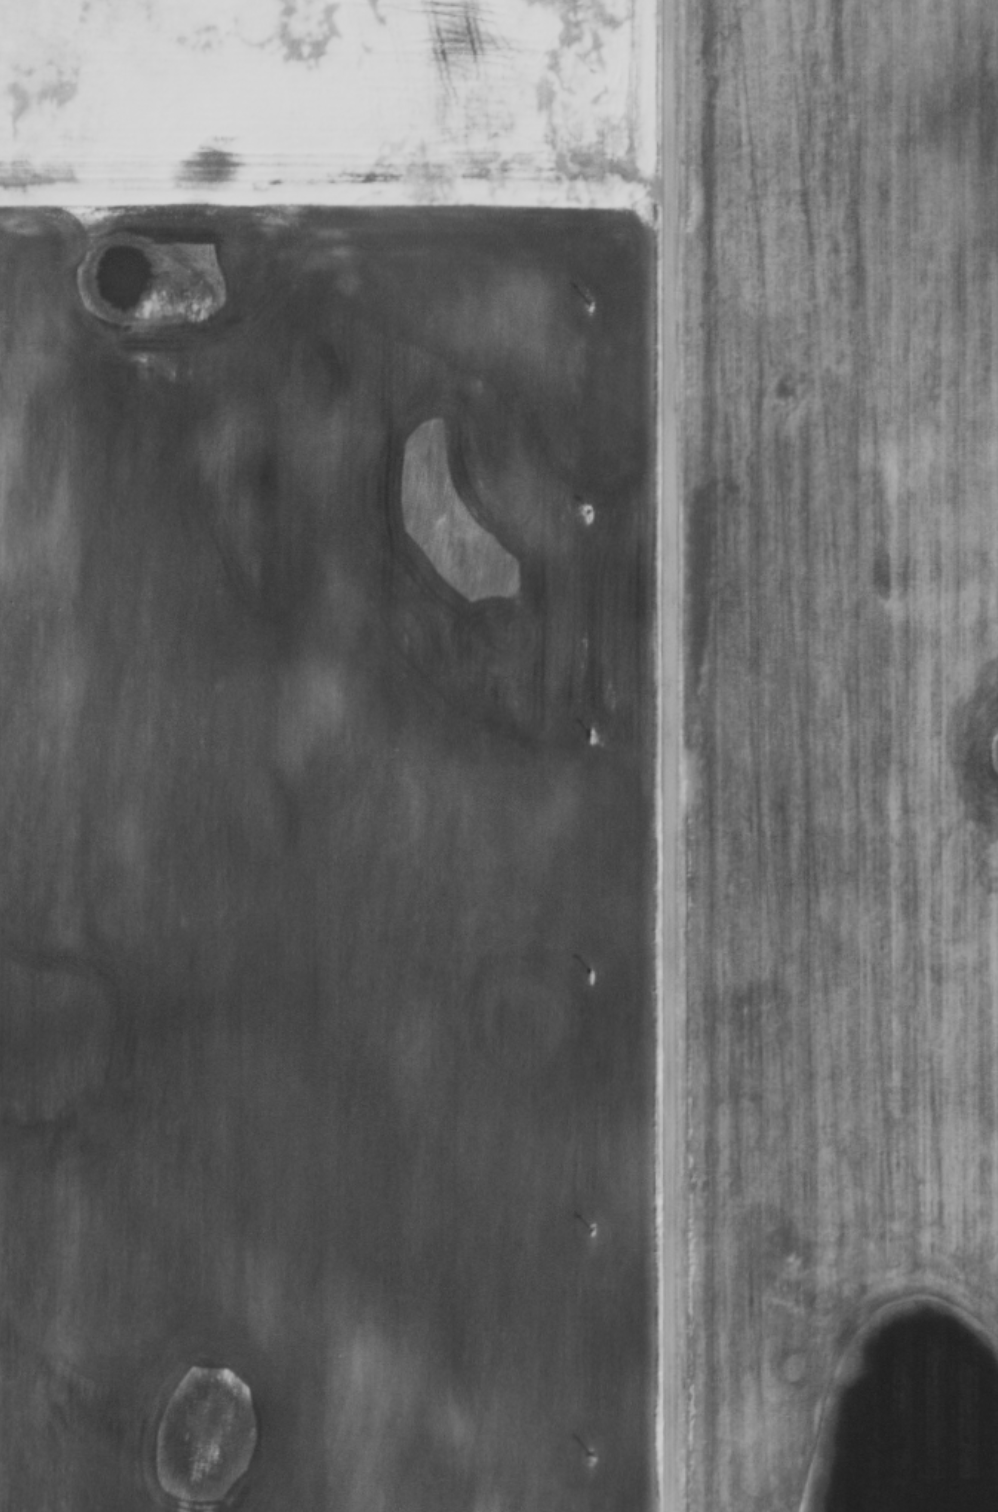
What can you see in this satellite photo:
road: (663, 755)

